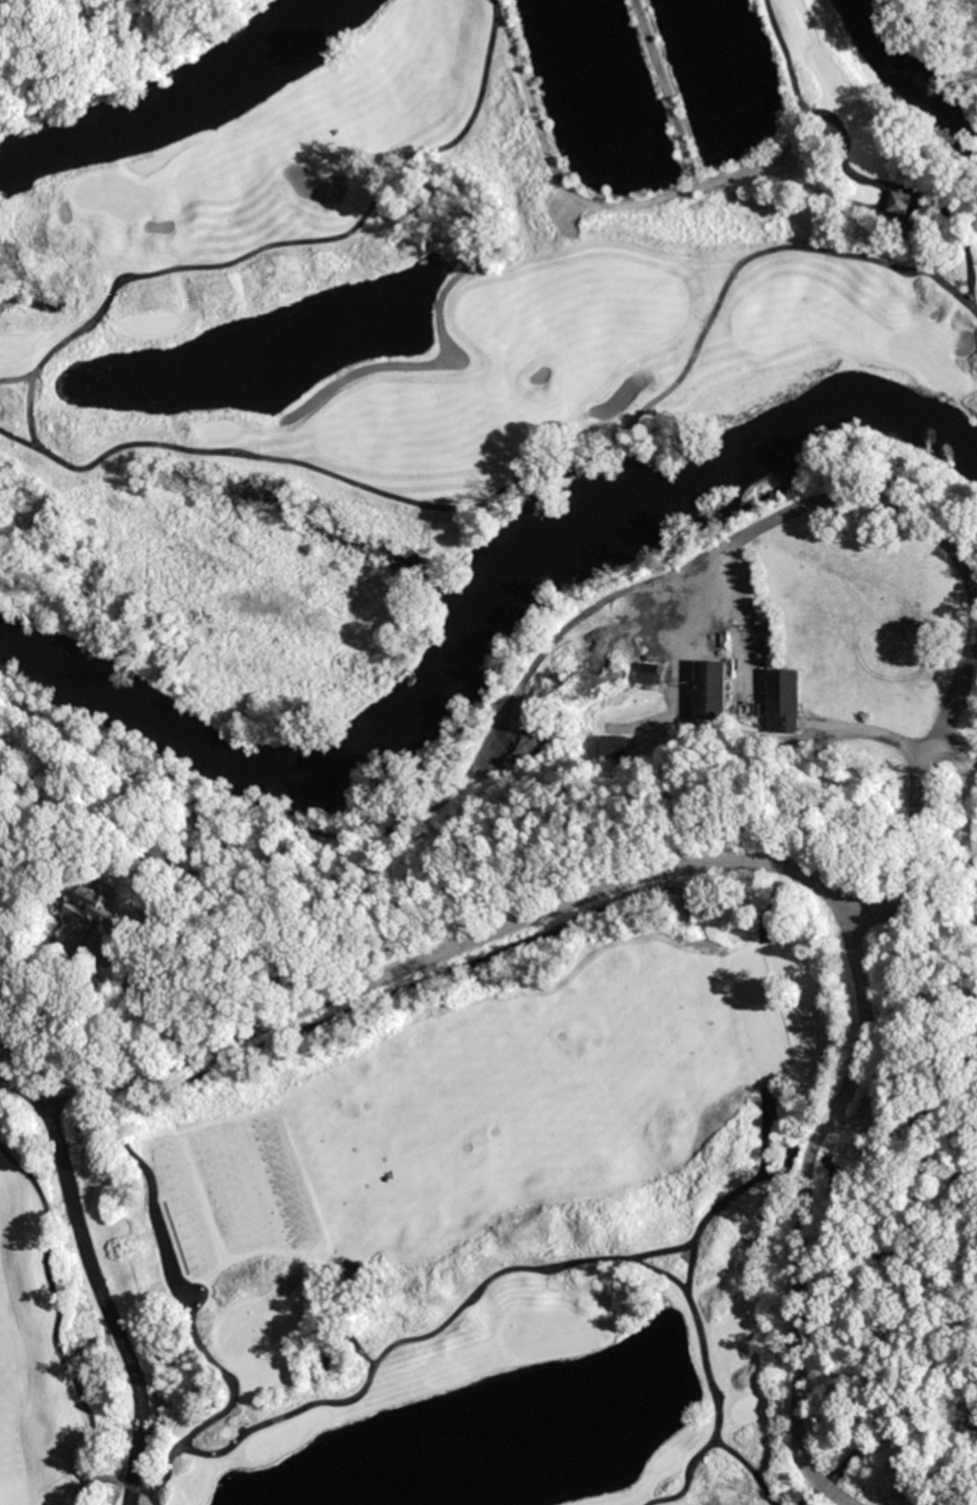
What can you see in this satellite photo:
park: (98, 46)
river: (905, 72)
river: (179, 106)
road: (806, 113)
road: (543, 165)
park: (112, 196)
building: (898, 203)
road: (965, 279)
road: (953, 298)
park: (921, 354)
road: (172, 452)
road: (928, 526)
river: (492, 636)
building: (651, 673)
building: (711, 690)
building: (783, 701)
road: (867, 729)
building: (616, 746)
road: (924, 758)
park: (500, 775)
road: (726, 862)
building: (96, 914)
road: (101, 1295)
park: (547, 1333)
road: (365, 1369)
road: (704, 1380)
road: (683, 1480)
road: (797, 1500)

